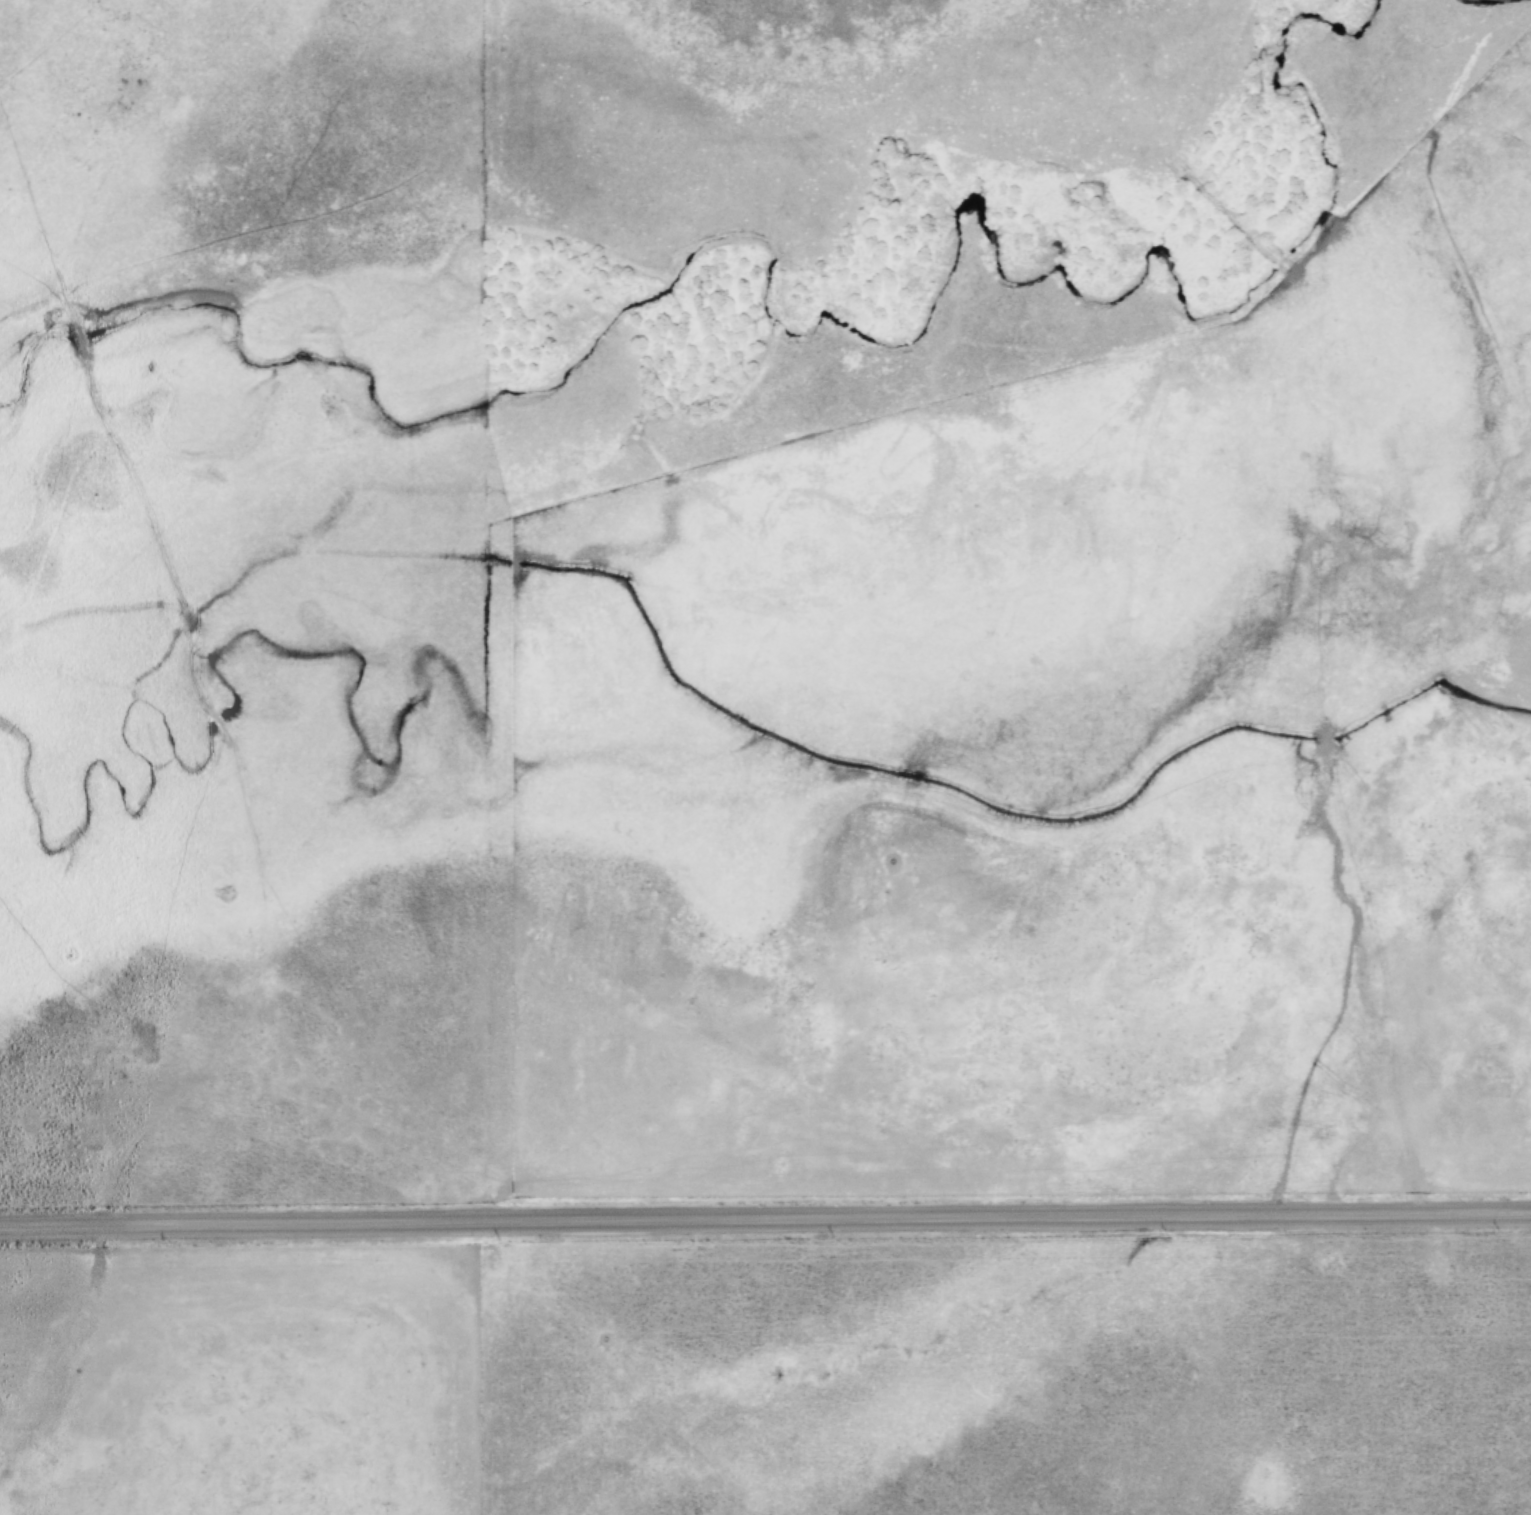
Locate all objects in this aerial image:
road: (765, 1270)

